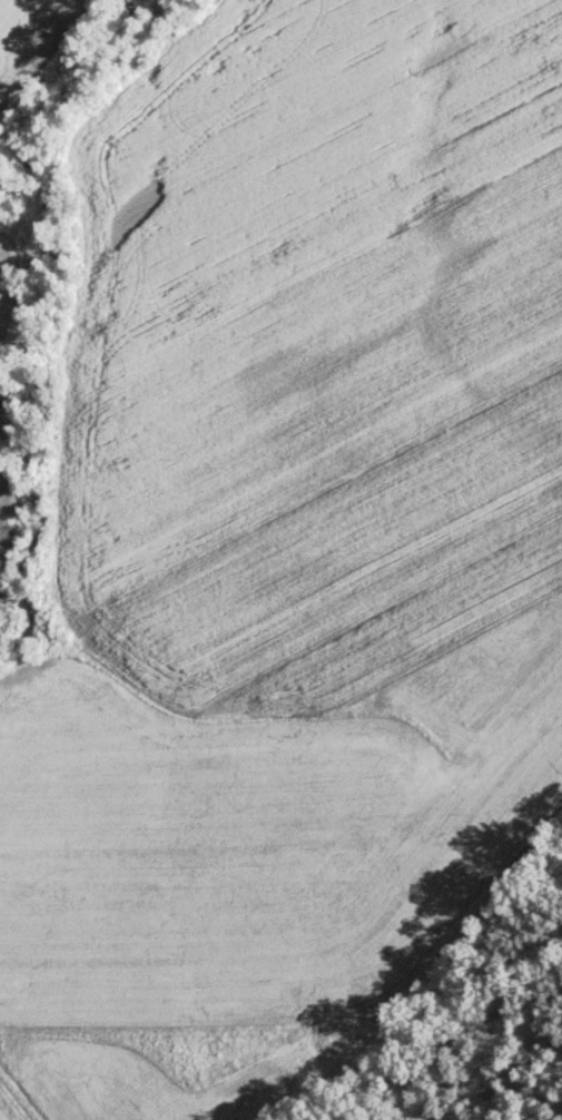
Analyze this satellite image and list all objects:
crop: (277, 122)
crop: (290, 640)

